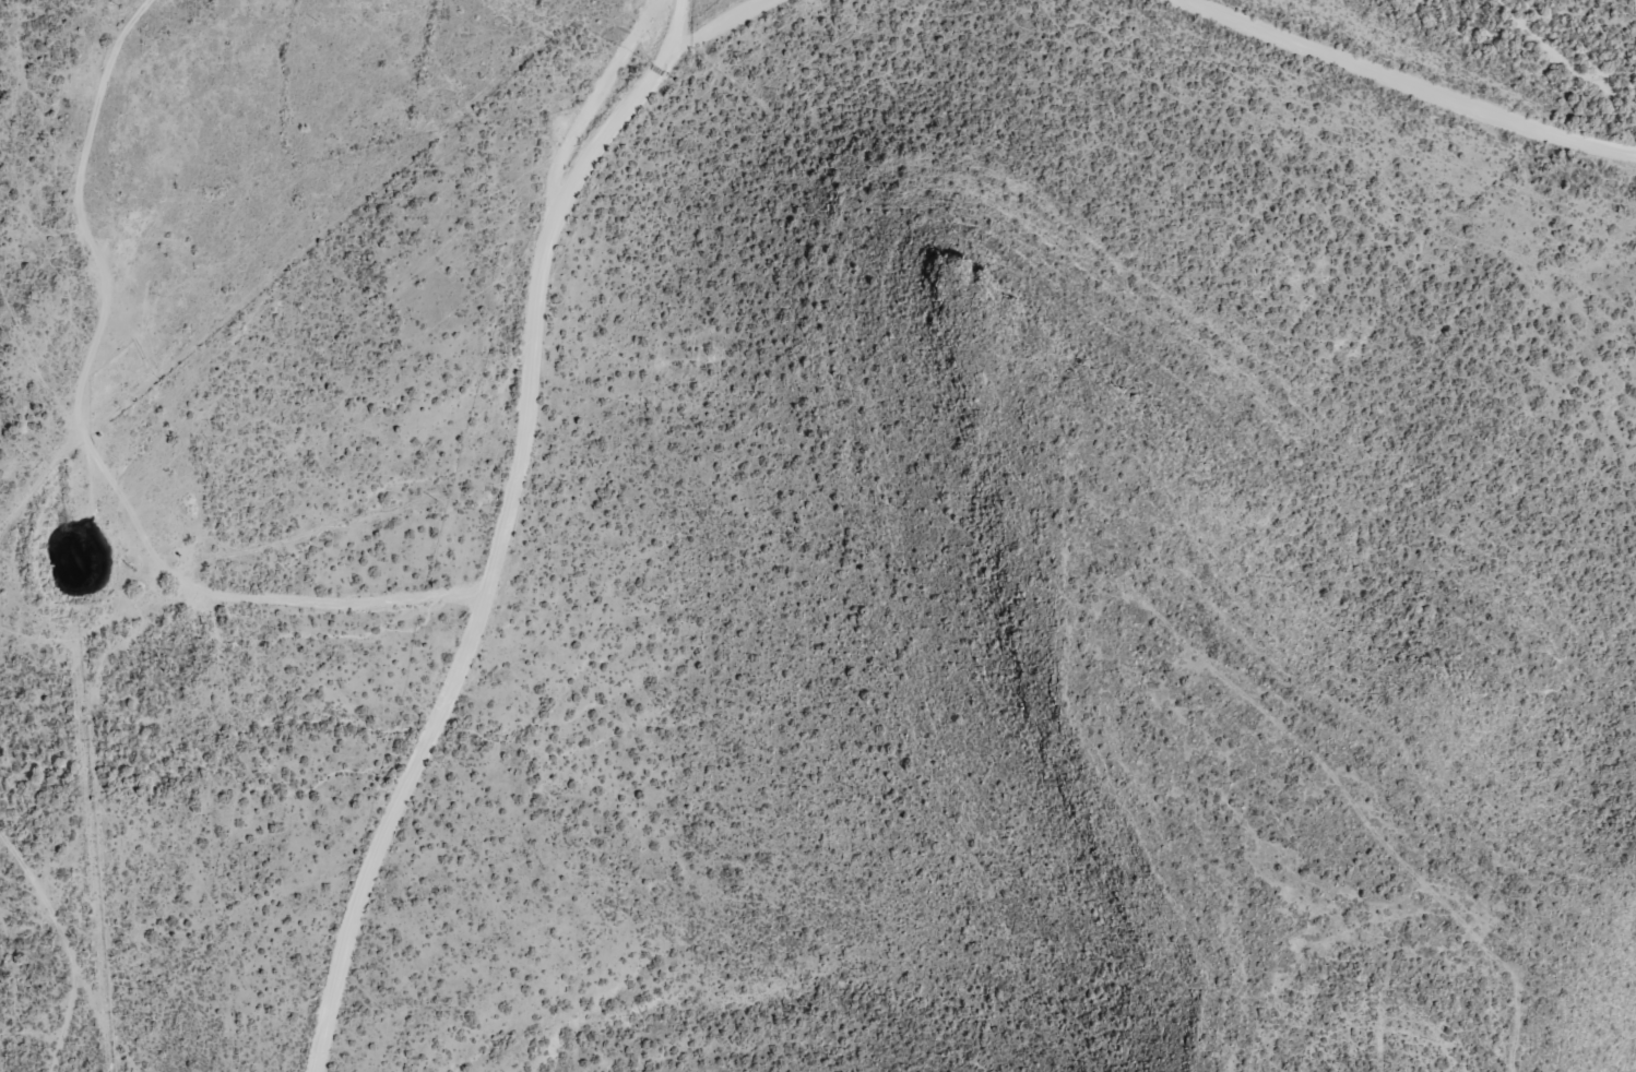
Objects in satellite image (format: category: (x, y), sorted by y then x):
road: (1392, 98)
road: (323, 223)
road: (552, 451)

